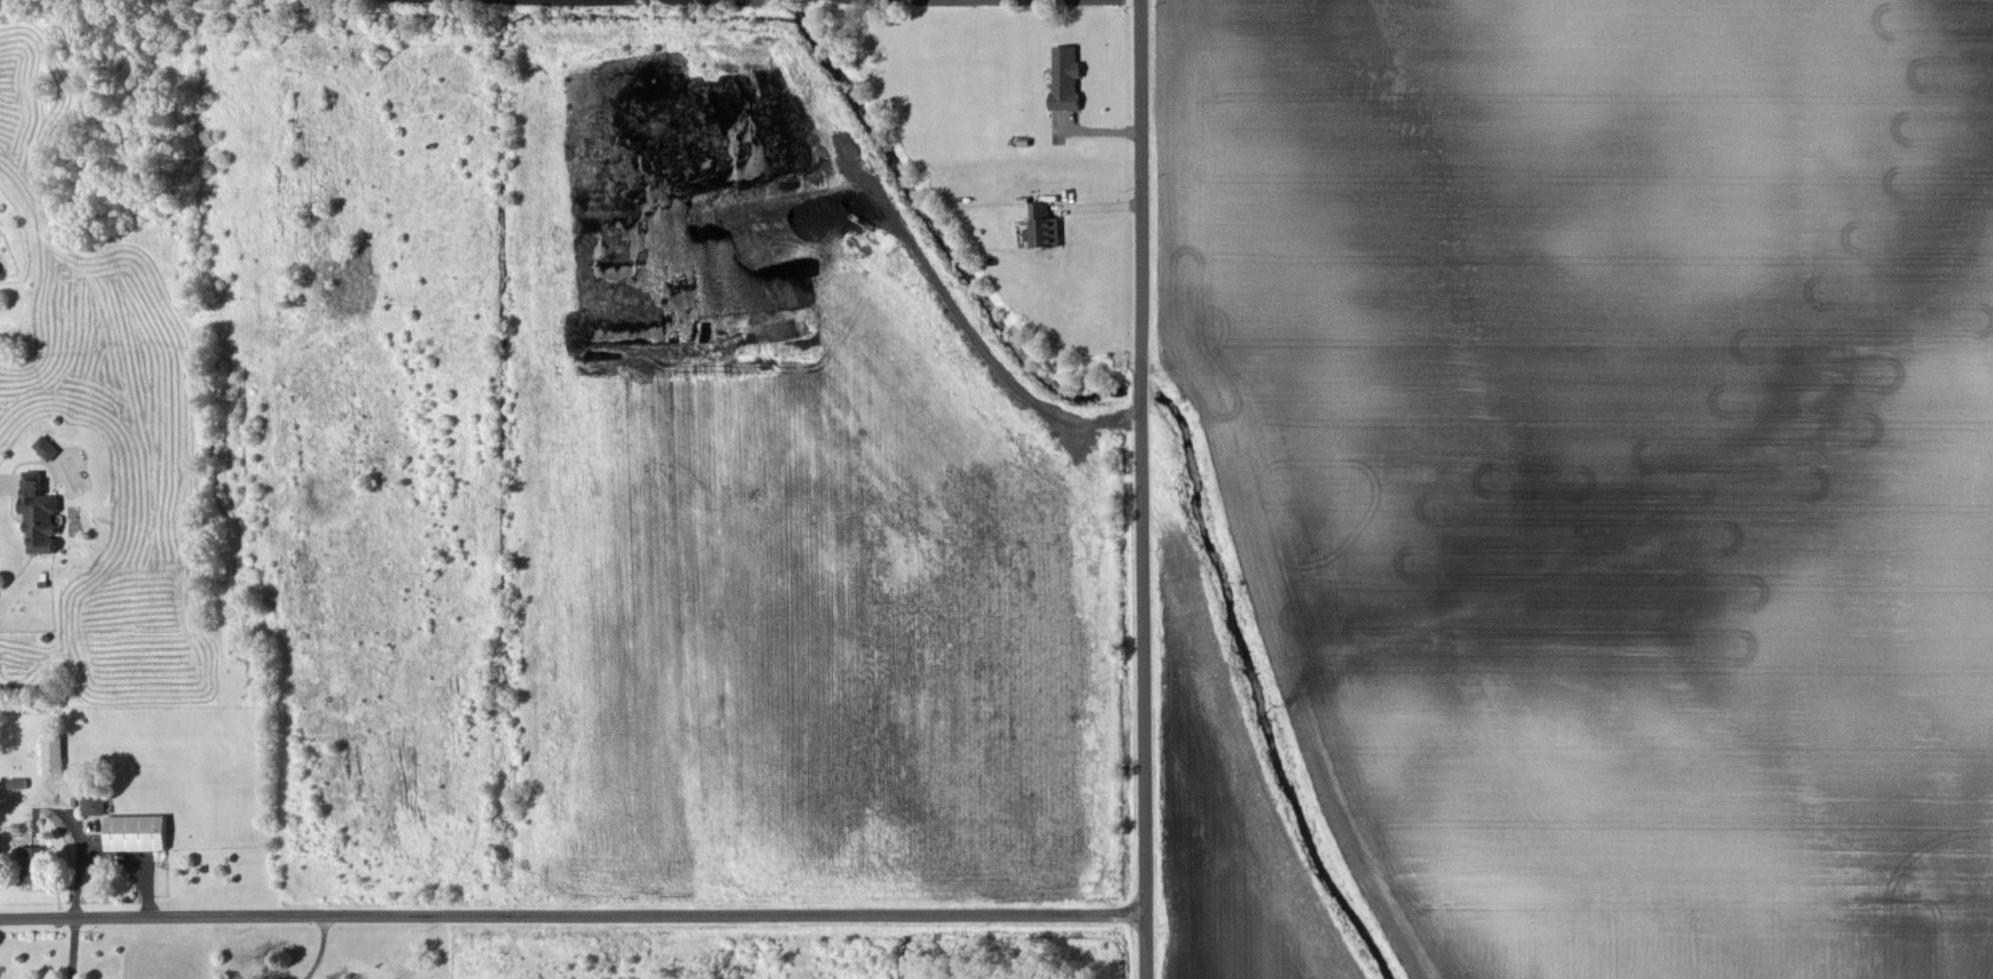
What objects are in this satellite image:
building: (1065, 75)
building: (48, 446)
road: (1, 487)
road: (1149, 489)
building: (41, 513)
building: (52, 753)
building: (92, 803)
building: (136, 832)
building: (34, 864)
road: (575, 915)
road: (72, 947)
road: (320, 949)

